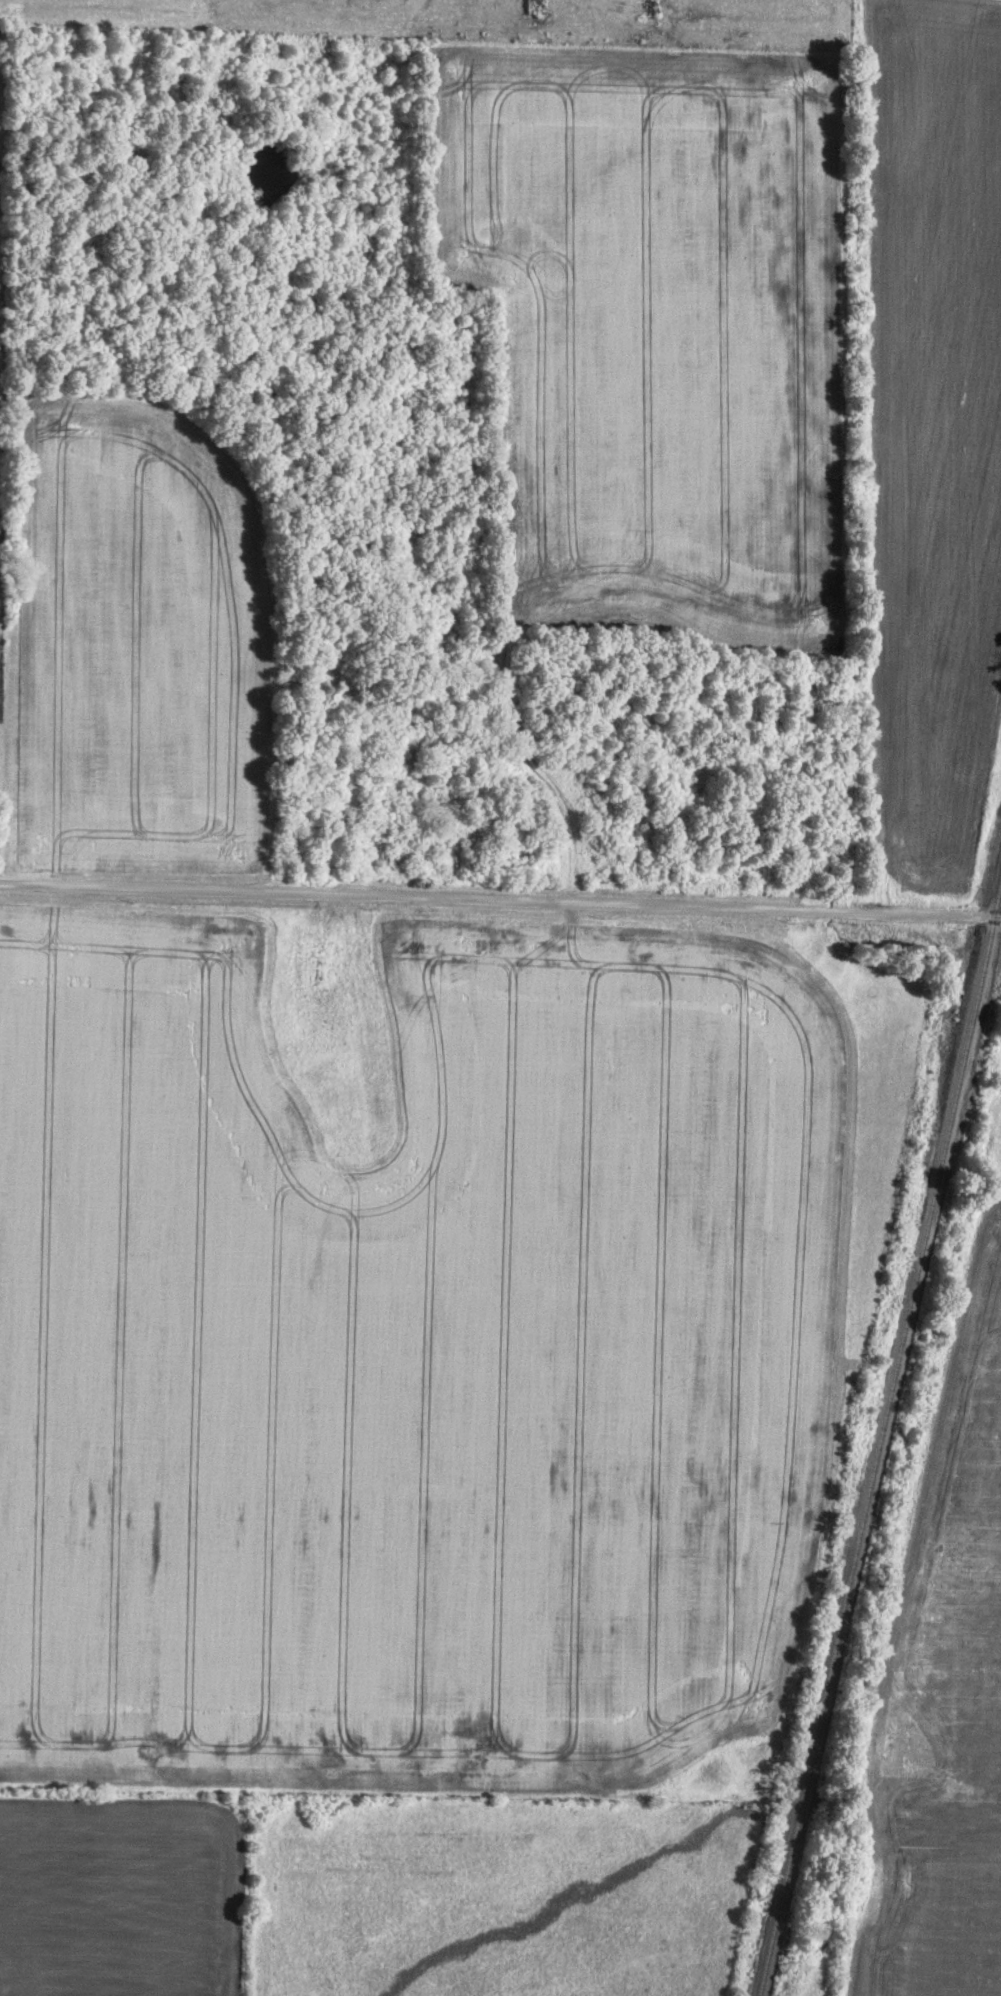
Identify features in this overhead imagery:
road: (500, 901)
railway: (881, 1436)

